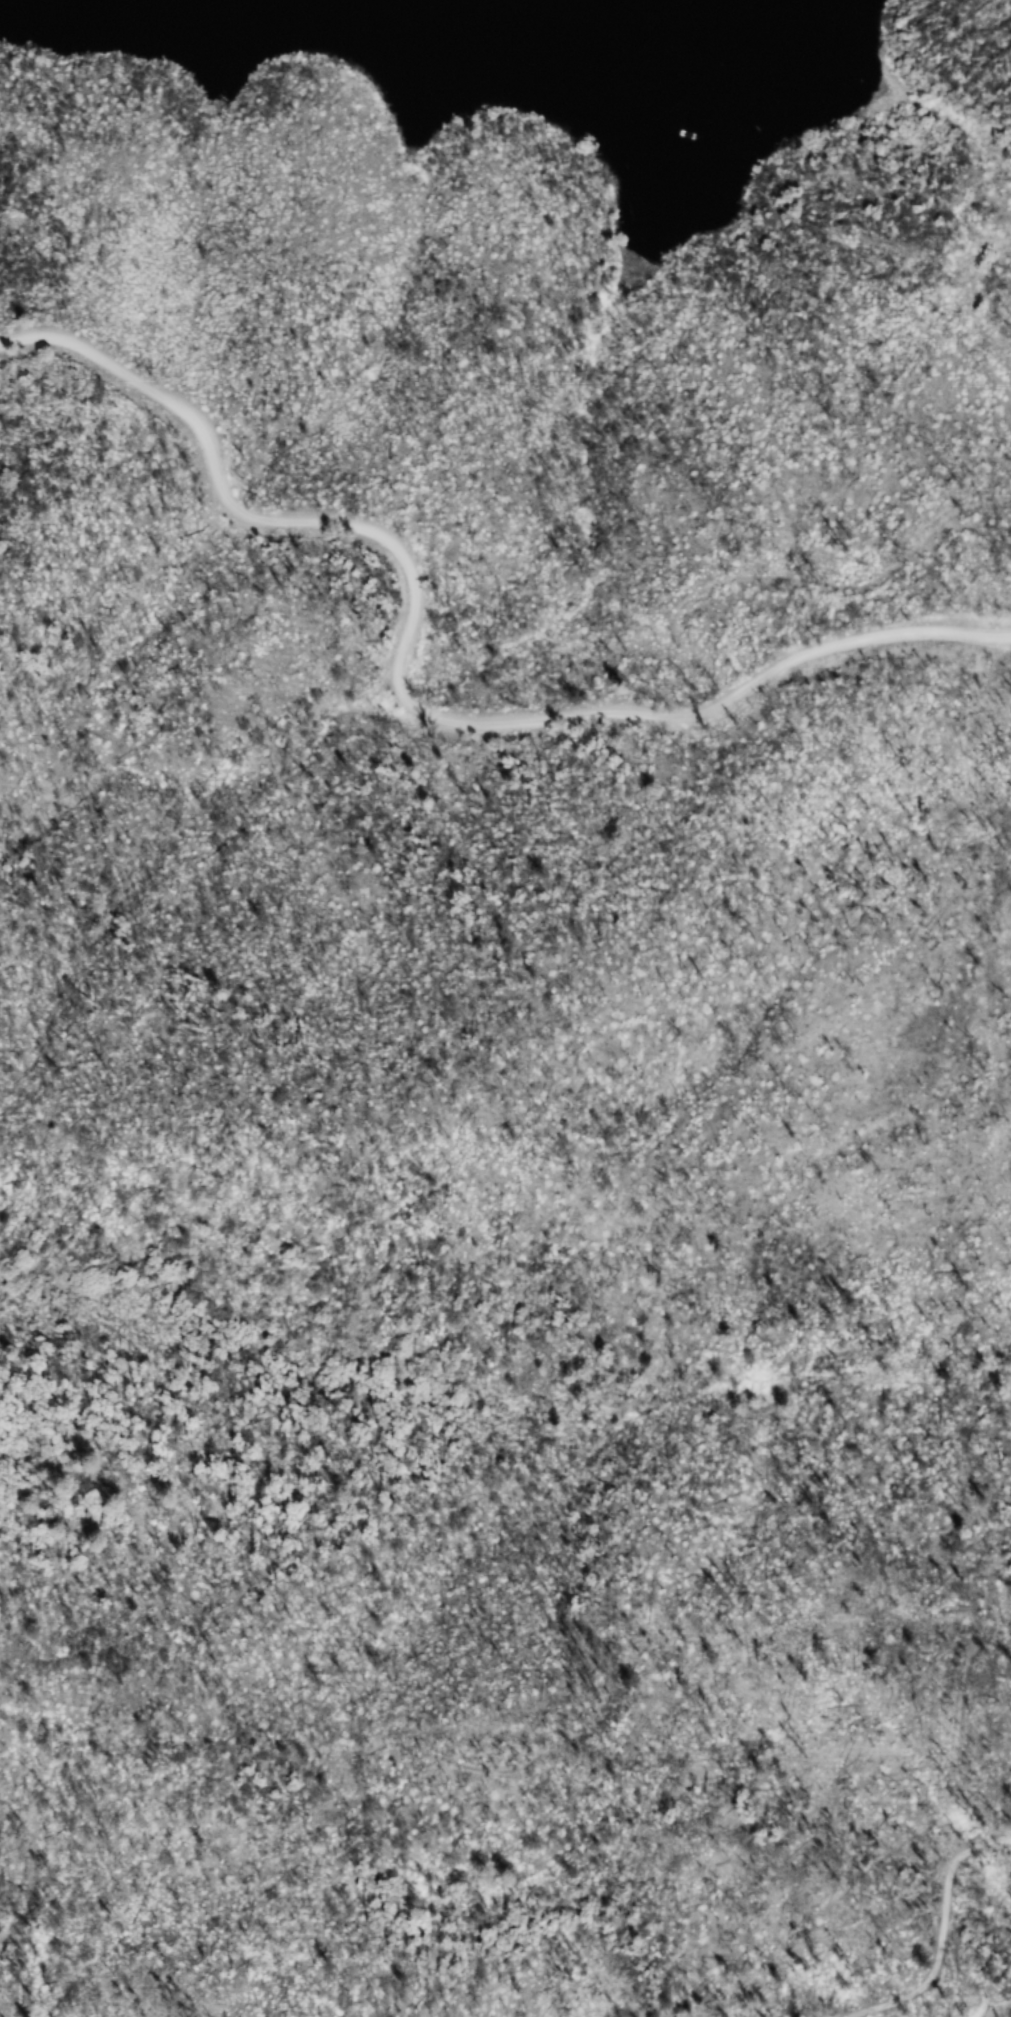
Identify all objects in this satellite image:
road: (400, 687)
road: (777, 1964)
road: (936, 1966)

